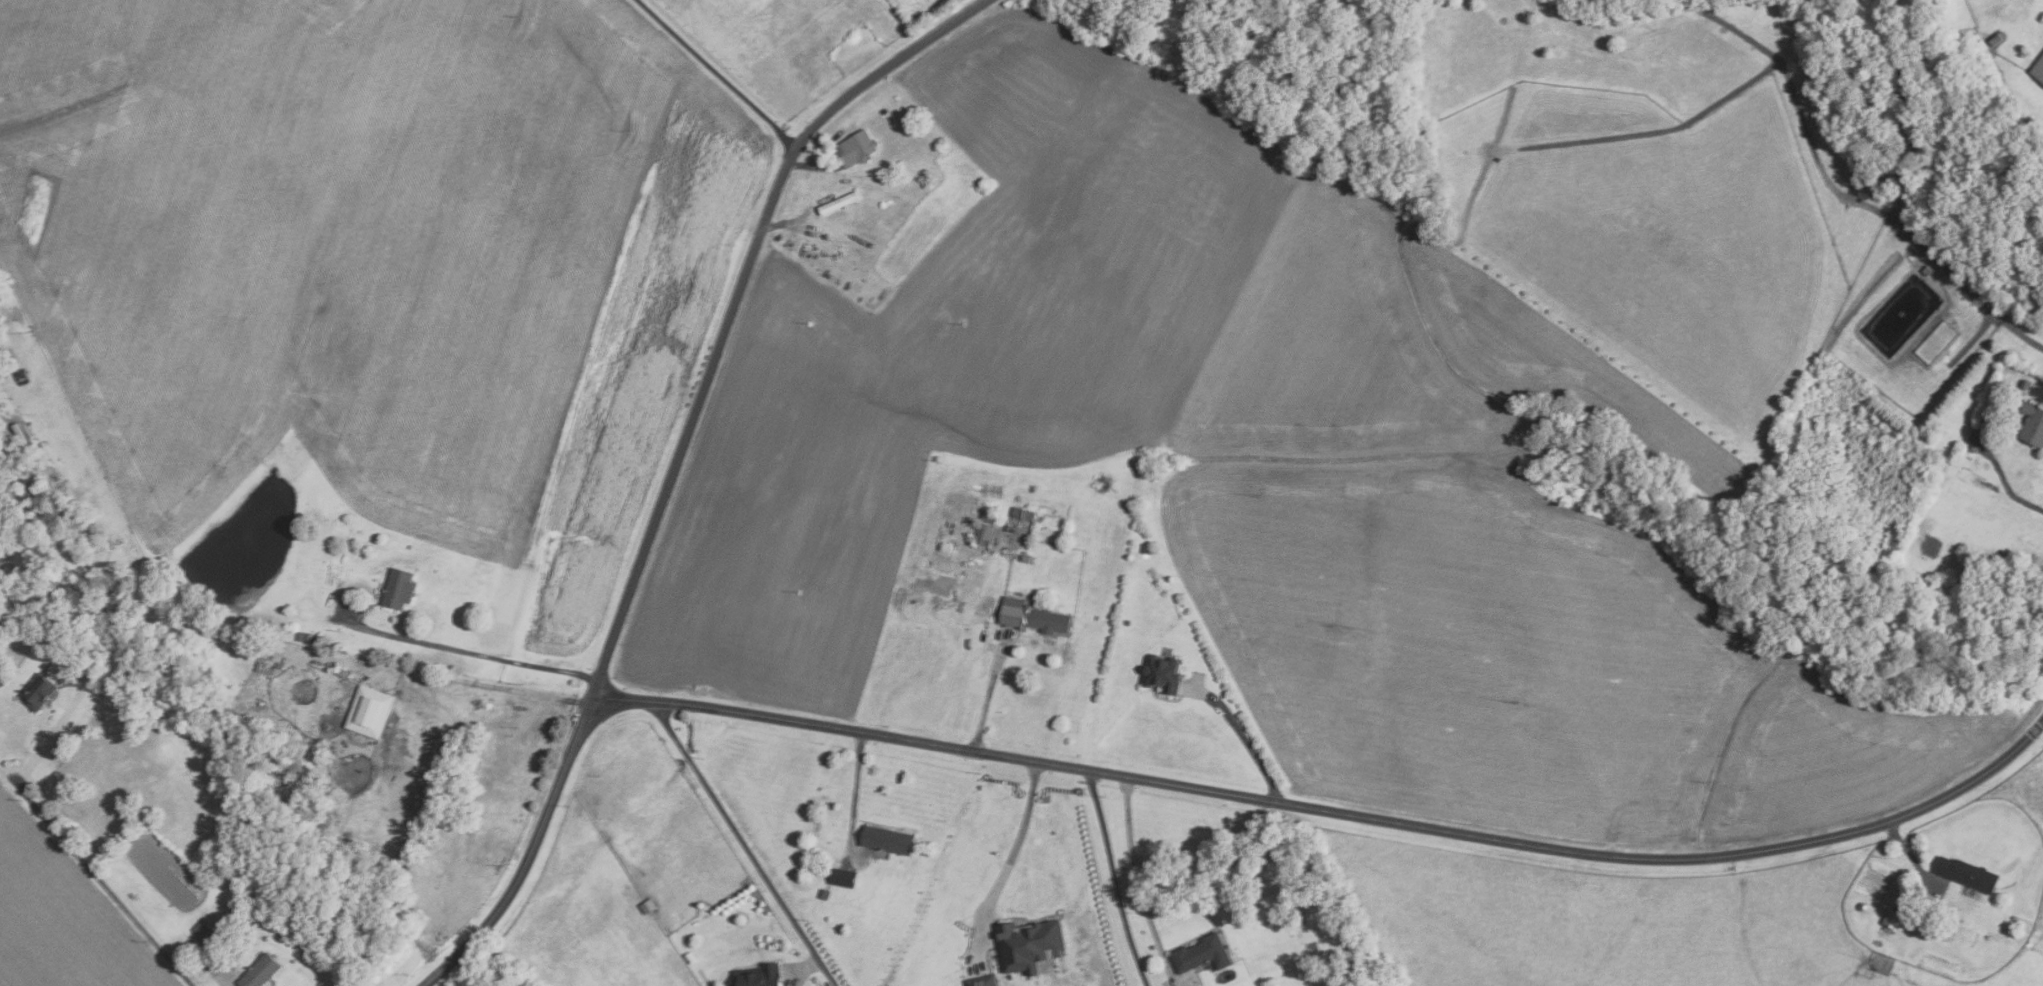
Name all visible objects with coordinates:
building: (1995, 38)
building: (2038, 69)
road: (716, 72)
building: (884, 111)
building: (855, 148)
building: (837, 203)
road: (1953, 275)
road: (732, 307)
road: (2021, 334)
building: (2025, 383)
building: (2032, 425)
building: (1976, 439)
road: (2017, 498)
building: (1021, 513)
building: (985, 528)
building: (1930, 547)
building: (1146, 548)
building: (1025, 558)
building: (401, 589)
building: (1032, 617)
building: (1098, 617)
building: (1126, 623)
building: (310, 638)
road: (467, 652)
building: (1161, 674)
road: (990, 689)
building: (42, 691)
building: (372, 712)
road: (57, 732)
road: (1242, 736)
building: (318, 755)
road: (856, 790)
road: (1331, 810)
road: (737, 830)
building: (888, 841)
road: (1014, 852)
road: (530, 856)
road: (1912, 856)
building: (1966, 873)
road: (98, 876)
building: (842, 876)
road: (1114, 879)
crop: (649, 882)
building: (1940, 883)
road: (1137, 884)
building: (824, 893)
building: (646, 905)
building: (1892, 918)
building: (206, 930)
building: (1027, 944)
building: (1202, 954)
road: (803, 967)
building: (262, 971)
road: (828, 972)
building: (757, 975)
building: (981, 981)

